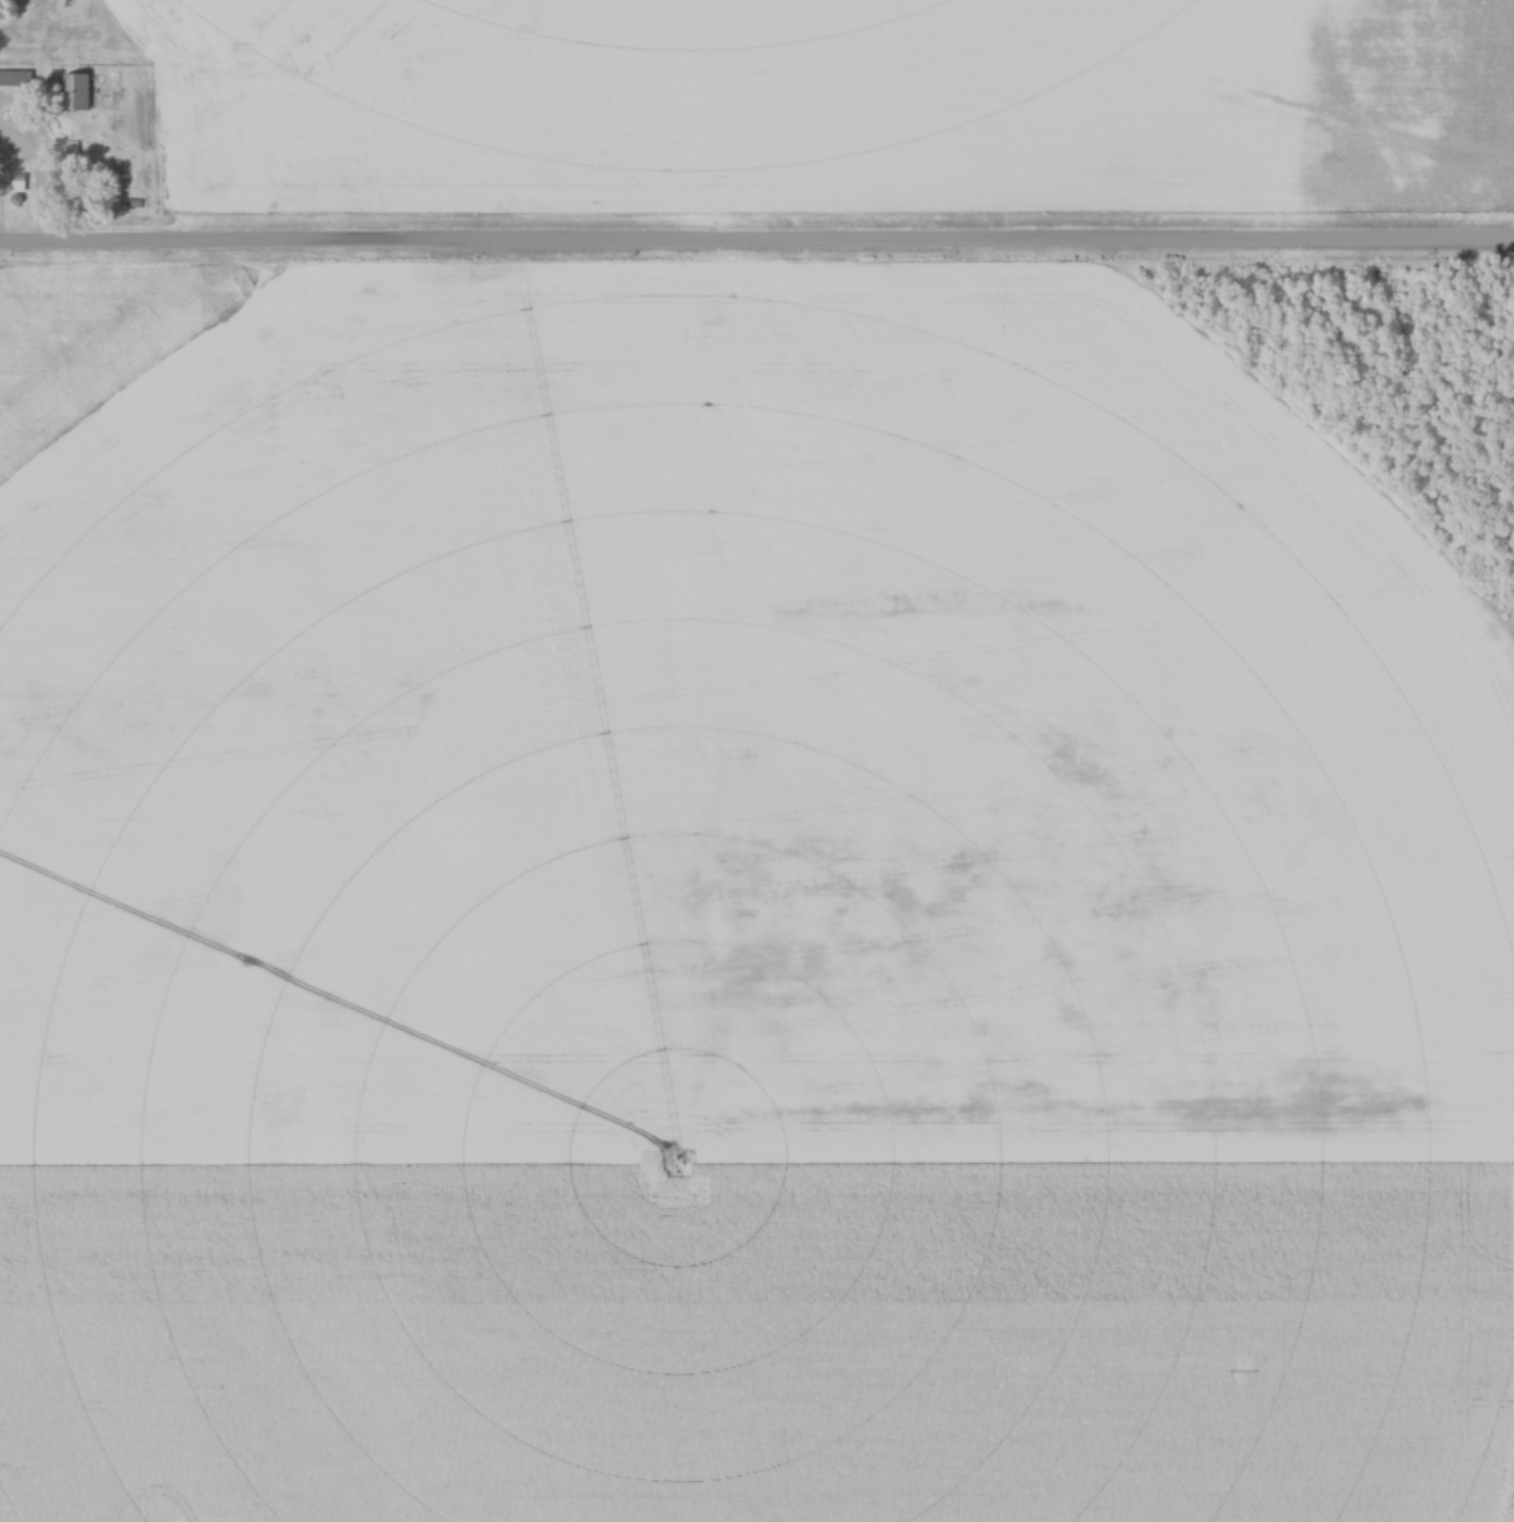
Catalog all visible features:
building: (15, 77)
building: (77, 93)
building: (72, 151)
road: (33, 181)
building: (18, 183)
road: (756, 243)

